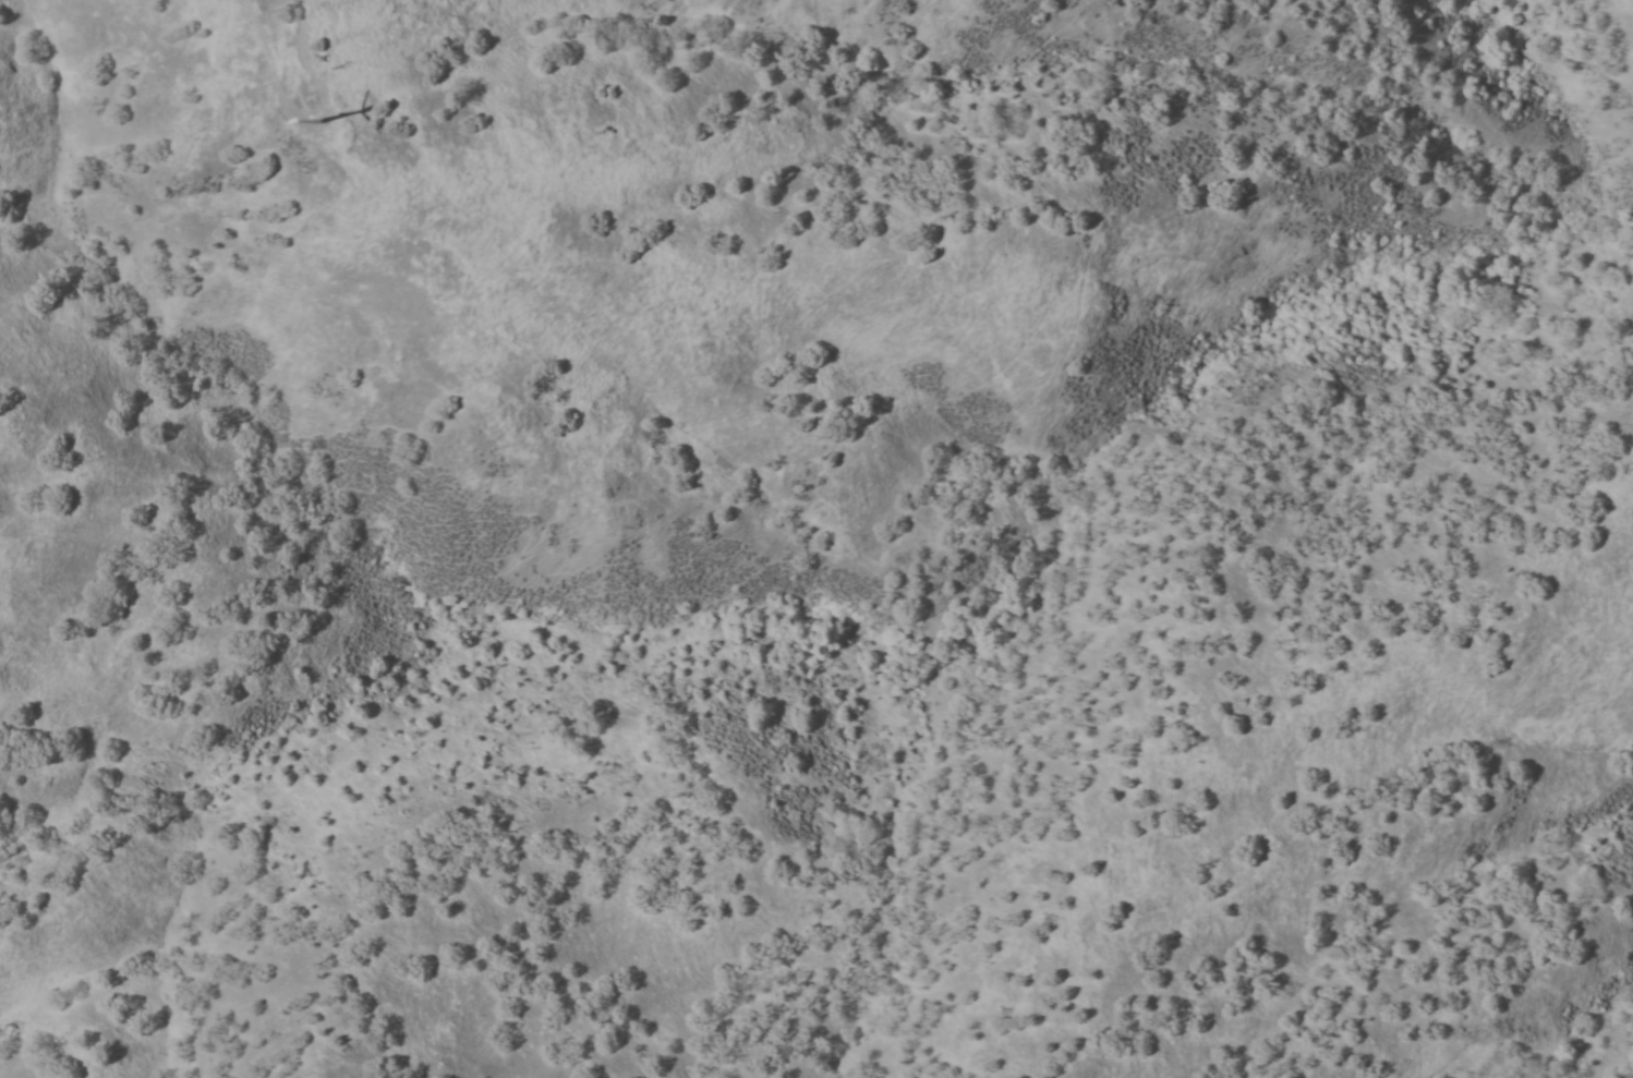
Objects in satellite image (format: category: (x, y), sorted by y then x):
road: (301, 113)
wind turbine: (329, 118)

